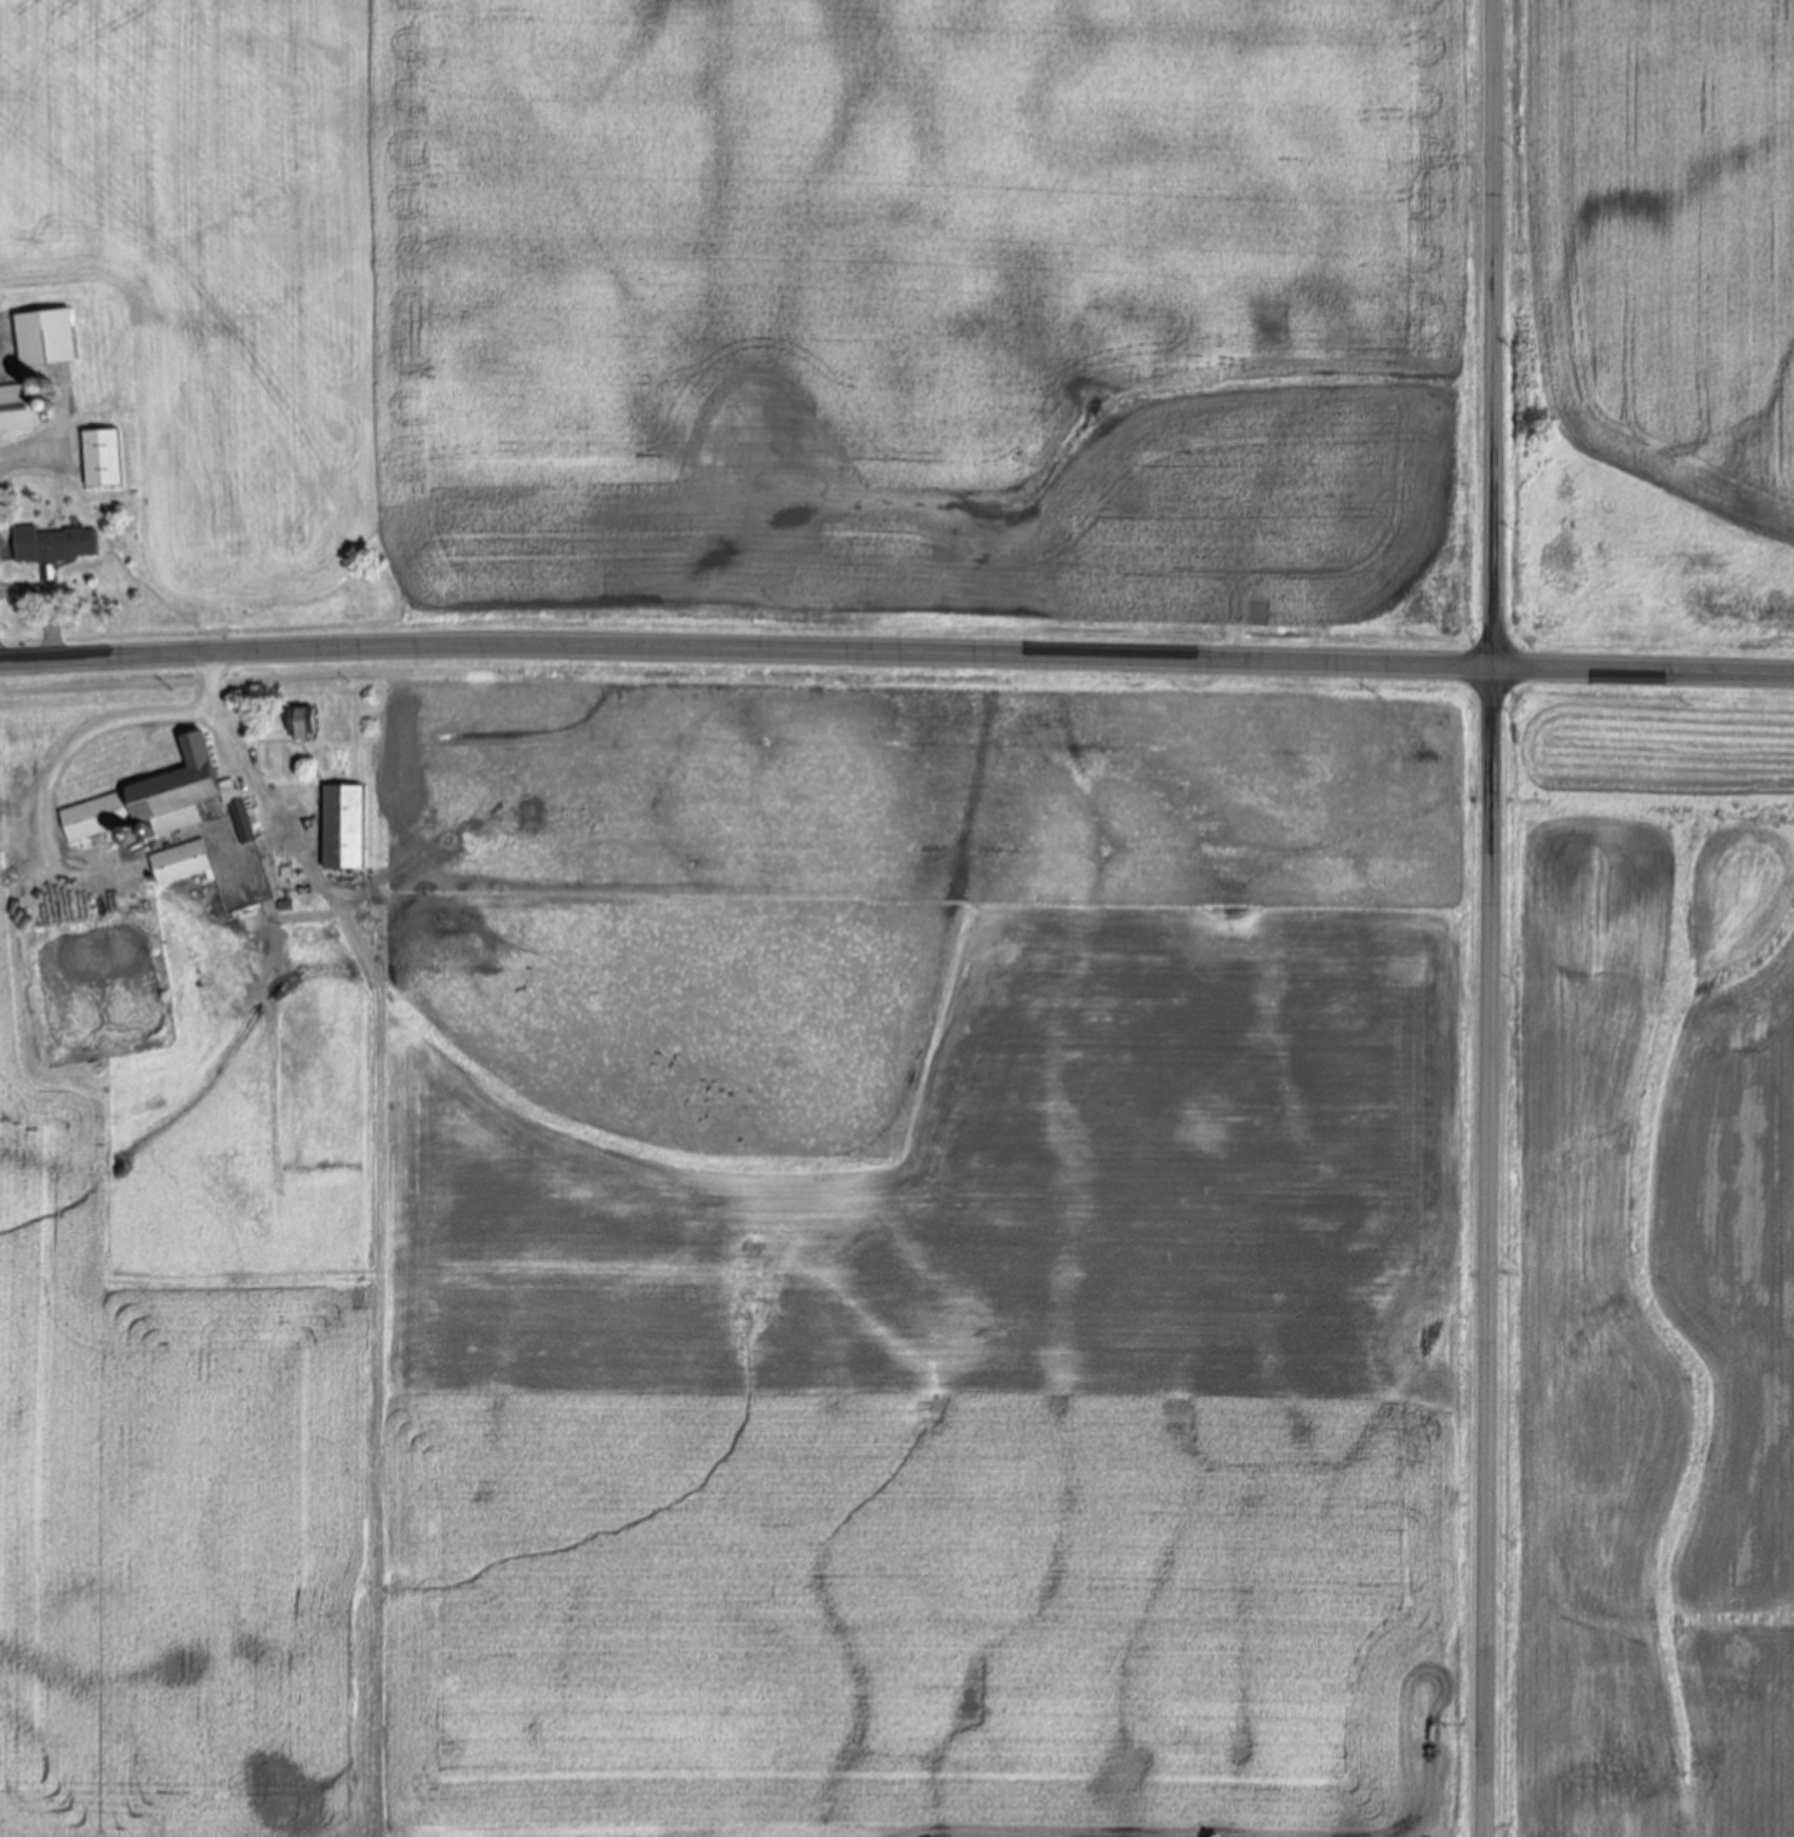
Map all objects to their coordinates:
building: (34, 368)
building: (101, 460)
building: (51, 546)
road: (46, 605)
road: (896, 656)
building: (299, 725)
road: (230, 748)
road: (67, 752)
building: (158, 801)
building: (341, 830)
building: (179, 865)
road: (1487, 917)

